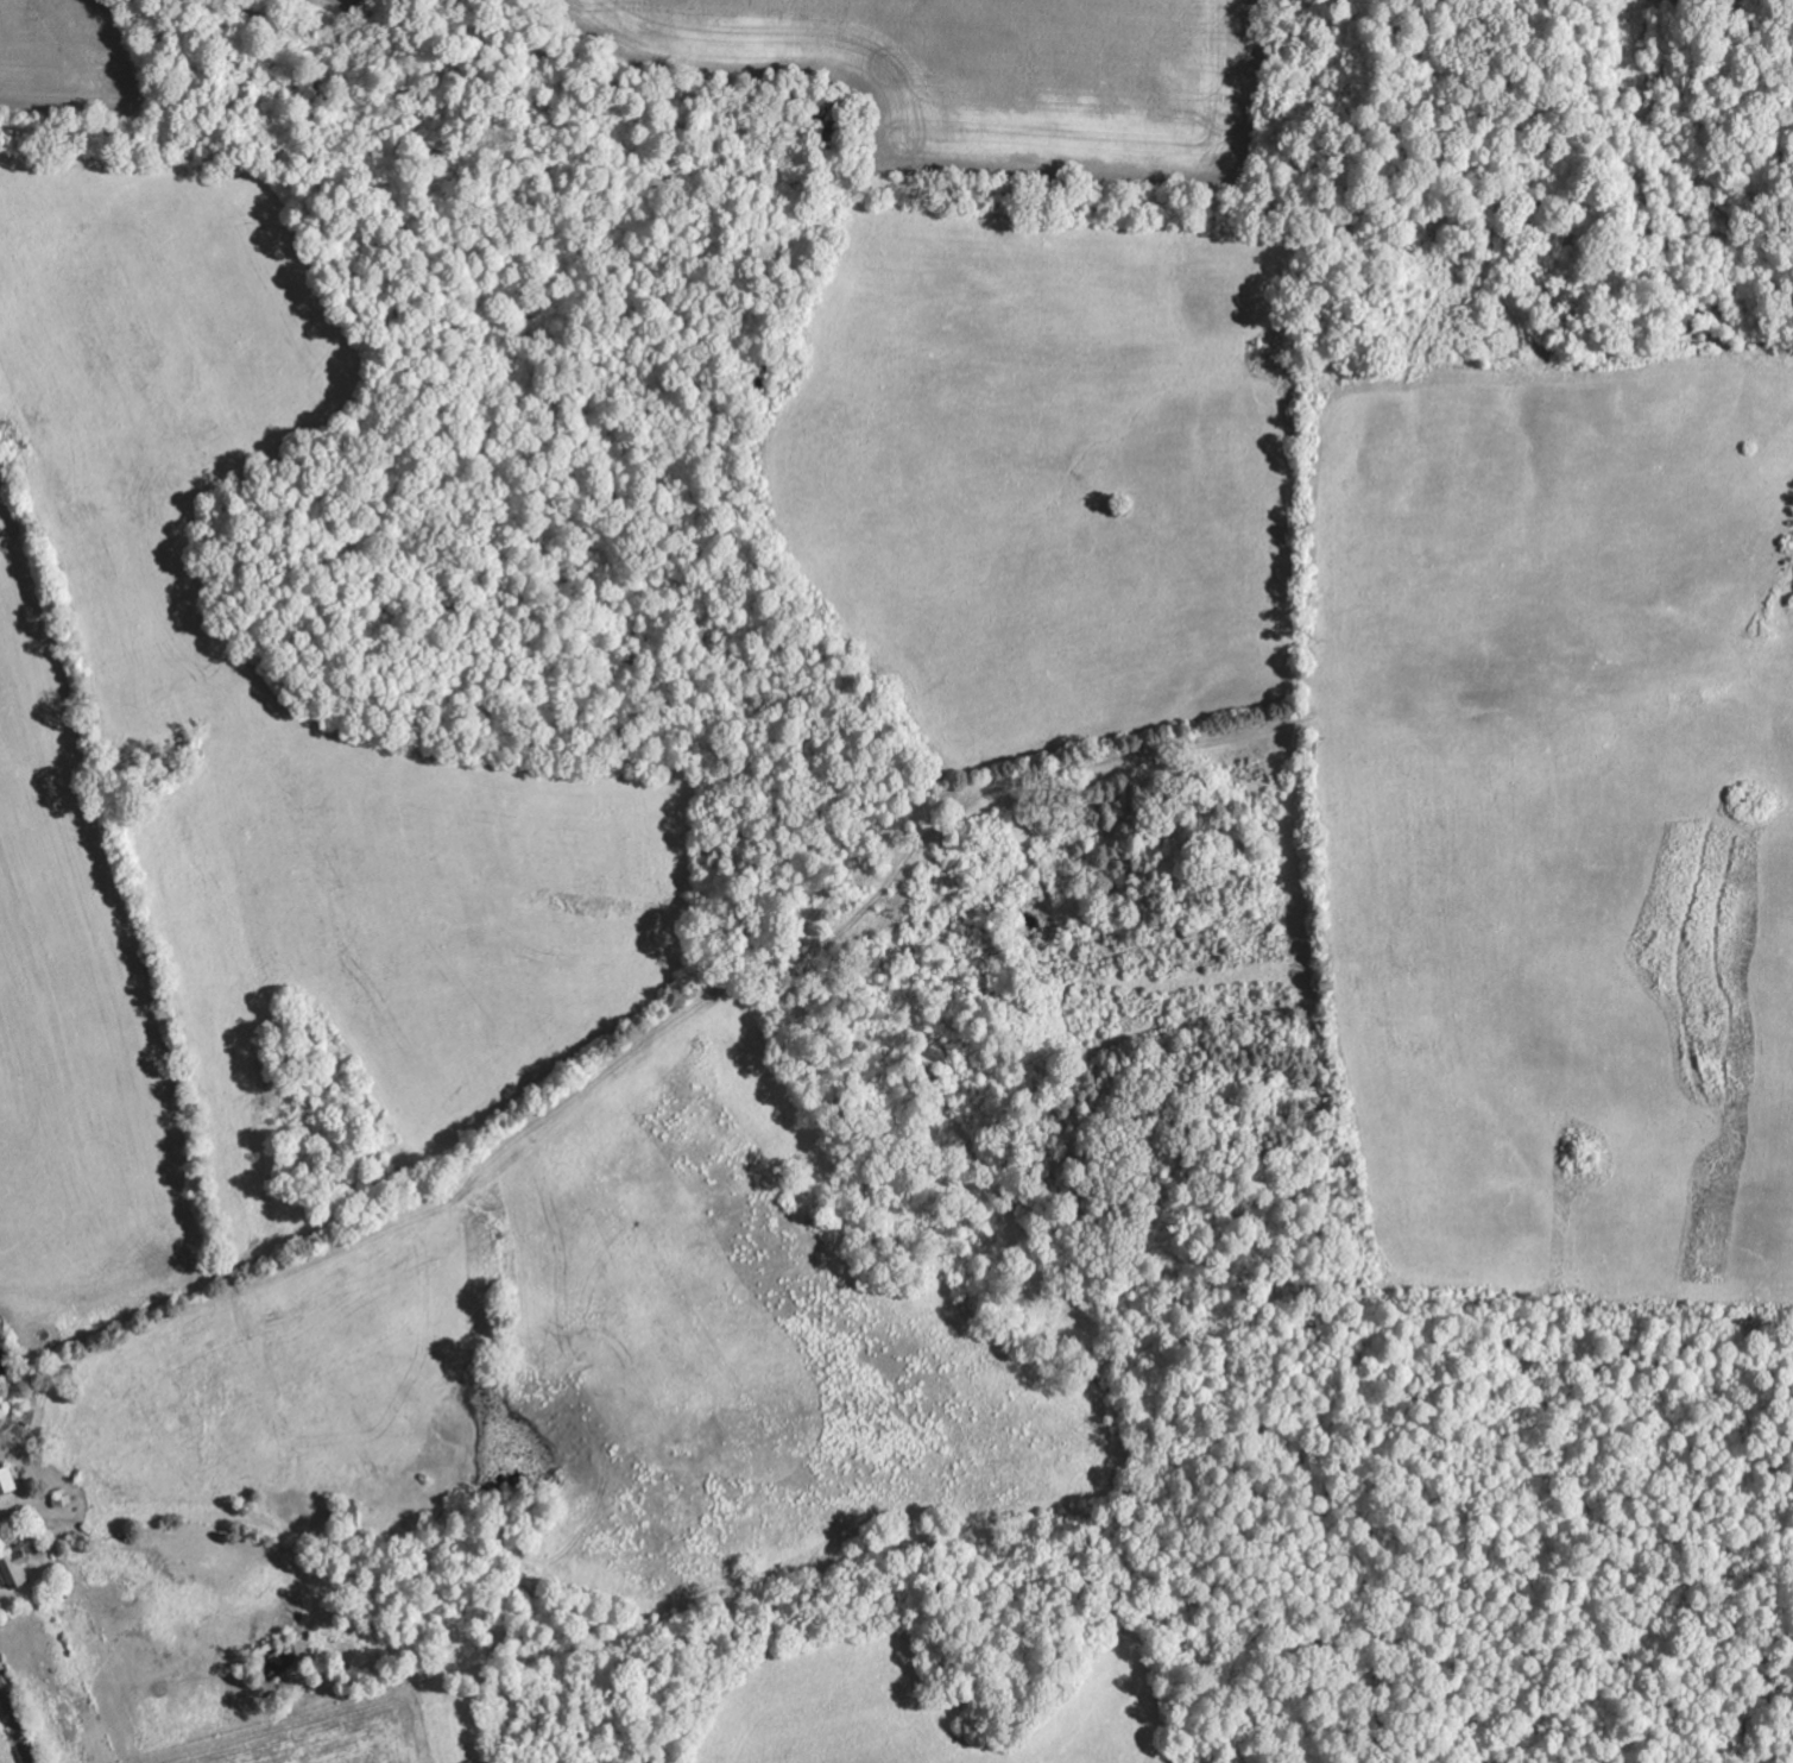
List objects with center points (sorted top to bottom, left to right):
building: (8, 1485)
building: (19, 1574)
road: (15, 1724)

